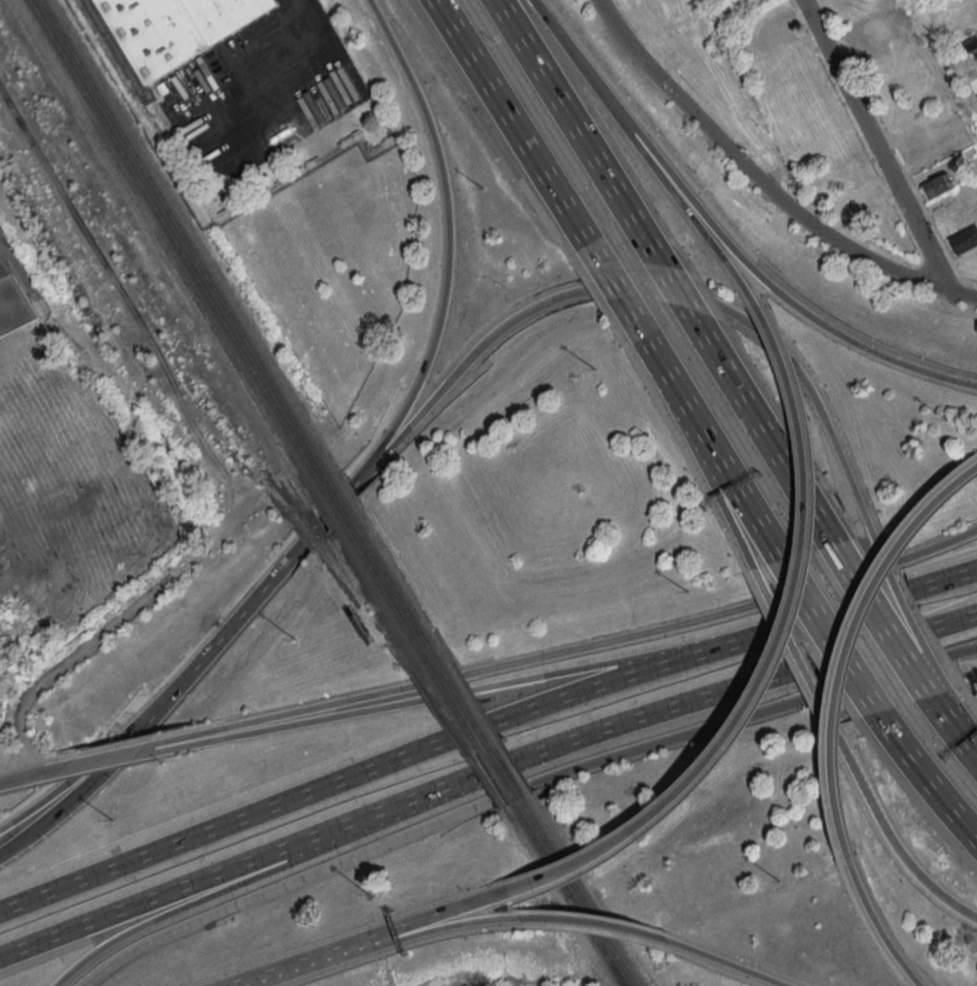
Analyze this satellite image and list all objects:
building: (178, 30)
building: (776, 30)
building: (867, 33)
road: (571, 48)
building: (972, 48)
road: (306, 77)
railway: (134, 100)
road: (515, 120)
road: (580, 136)
building: (926, 143)
road: (874, 145)
road: (761, 184)
building: (937, 185)
street lamp: (487, 190)
road: (677, 197)
building: (861, 199)
road: (446, 231)
building: (963, 240)
railway: (185, 241)
railway: (178, 244)
road: (763, 278)
road: (654, 287)
road: (618, 290)
road: (678, 296)
building: (14, 303)
street lamp: (597, 371)
street lamp: (949, 424)
road: (763, 435)
road: (713, 446)
road: (698, 455)
road: (959, 480)
railway: (338, 497)
railway: (330, 505)
road: (938, 545)
road: (943, 578)
road: (825, 582)
railway: (394, 589)
road: (256, 592)
street lamp: (690, 593)
railway: (385, 595)
road: (838, 610)
road: (906, 619)
road: (956, 619)
road: (880, 627)
road: (832, 638)
street lamp: (298, 640)
road: (744, 640)
road: (608, 642)
road: (790, 648)
road: (862, 649)
road: (963, 649)
road: (780, 656)
road: (65, 664)
road: (596, 666)
road: (841, 669)
road: (876, 676)
road: (441, 679)
road: (607, 685)
road: (449, 694)
road: (652, 713)
road: (285, 715)
road: (963, 720)
road: (291, 726)
road: (472, 730)
road: (953, 730)
railway: (482, 733)
railway: (473, 738)
road: (665, 739)
road: (149, 750)
road: (101, 762)
road: (497, 767)
road: (71, 774)
road: (30, 778)
road: (931, 782)
road: (510, 791)
road: (76, 792)
street lamp: (112, 821)
road: (225, 825)
road: (884, 838)
road: (357, 855)
road: (238, 864)
road: (254, 876)
street lamp: (782, 885)
railway: (578, 893)
railway: (568, 896)
street lamp: (371, 897)
road: (582, 921)
road: (405, 930)
road: (879, 932)
road: (149, 941)
road: (409, 942)
road: (709, 958)
road: (266, 976)

